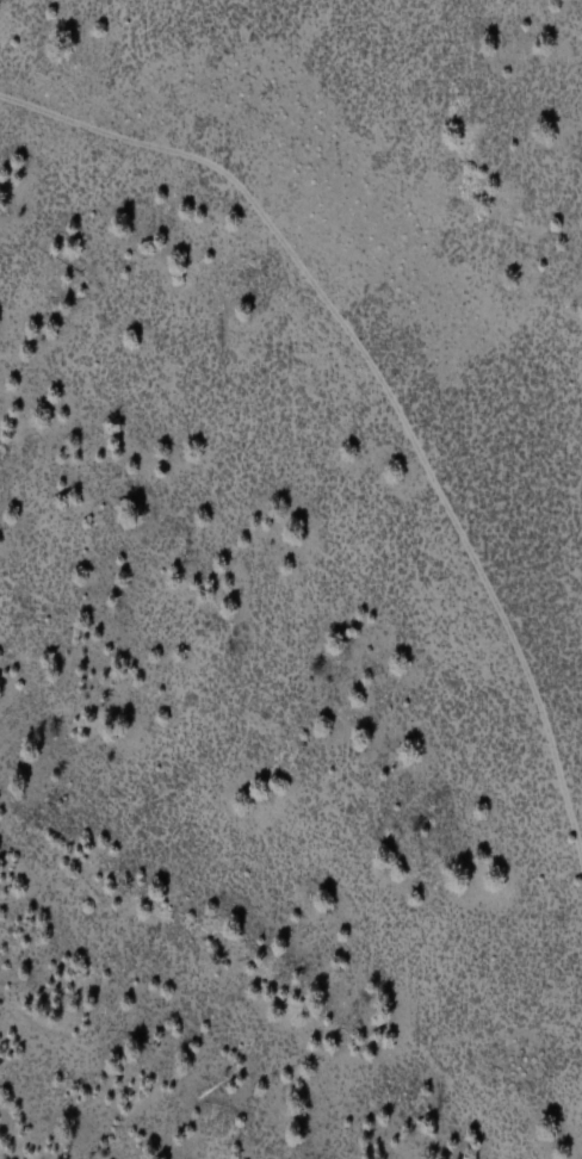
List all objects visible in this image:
road: (388, 396)

